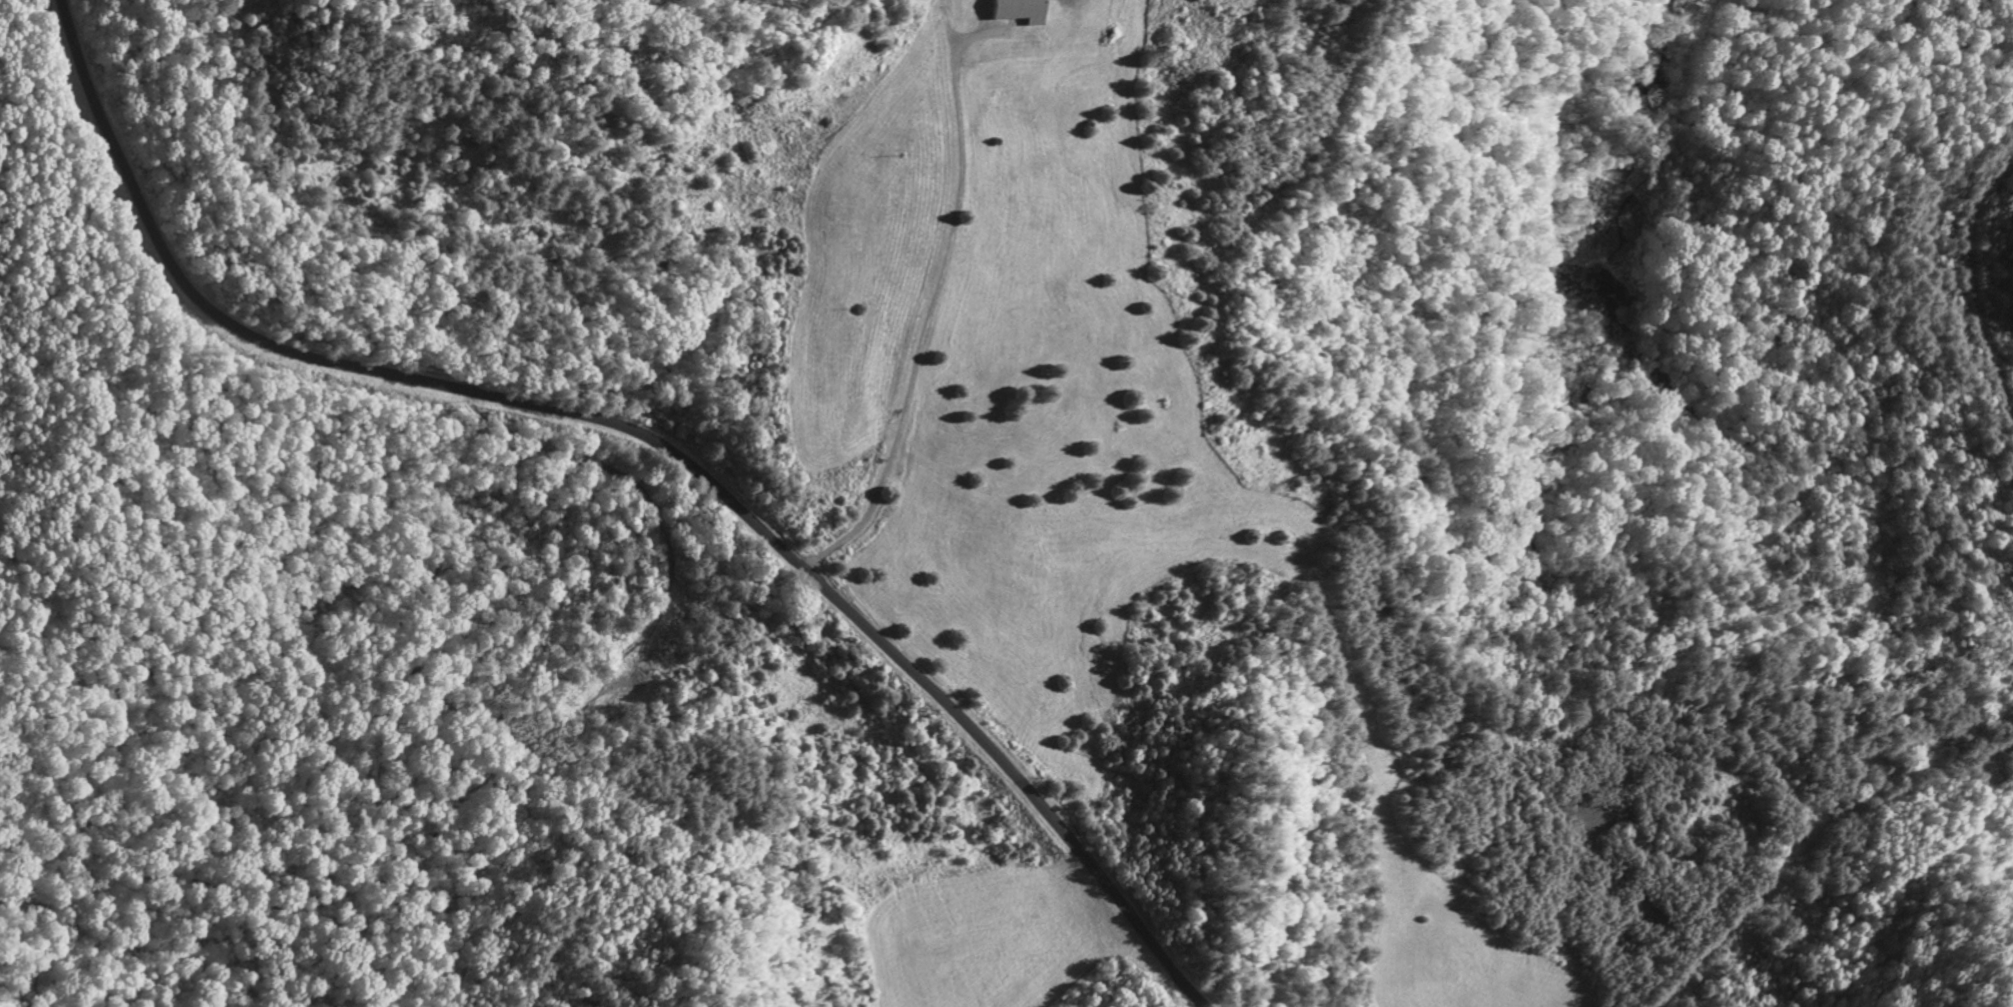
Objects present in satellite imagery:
building: (1017, 10)
road: (812, 260)
road: (952, 315)
road: (386, 373)
road: (1033, 804)

